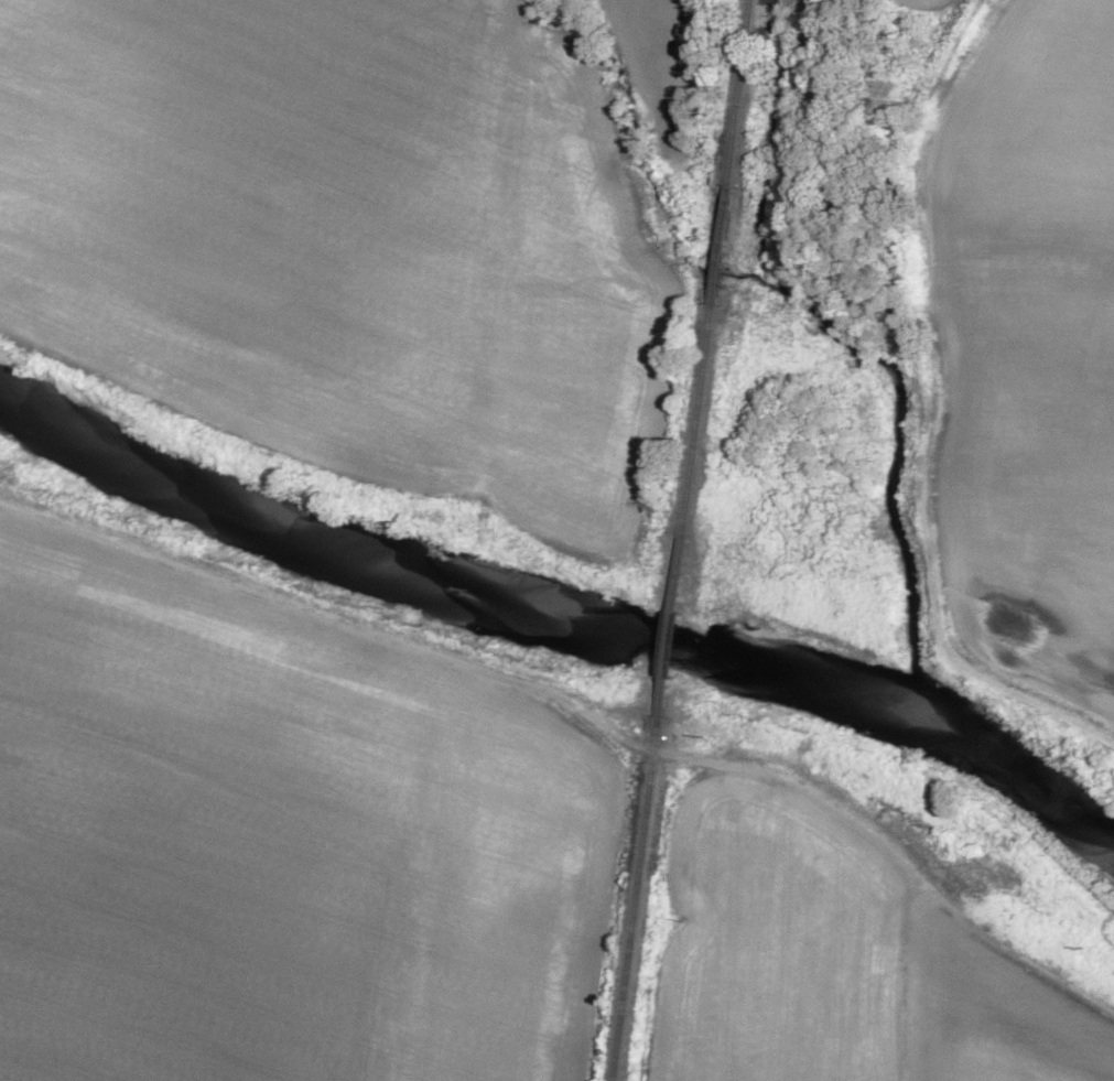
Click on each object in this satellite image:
railway: (715, 269)
river: (558, 625)
railway: (669, 628)
railway: (635, 899)

